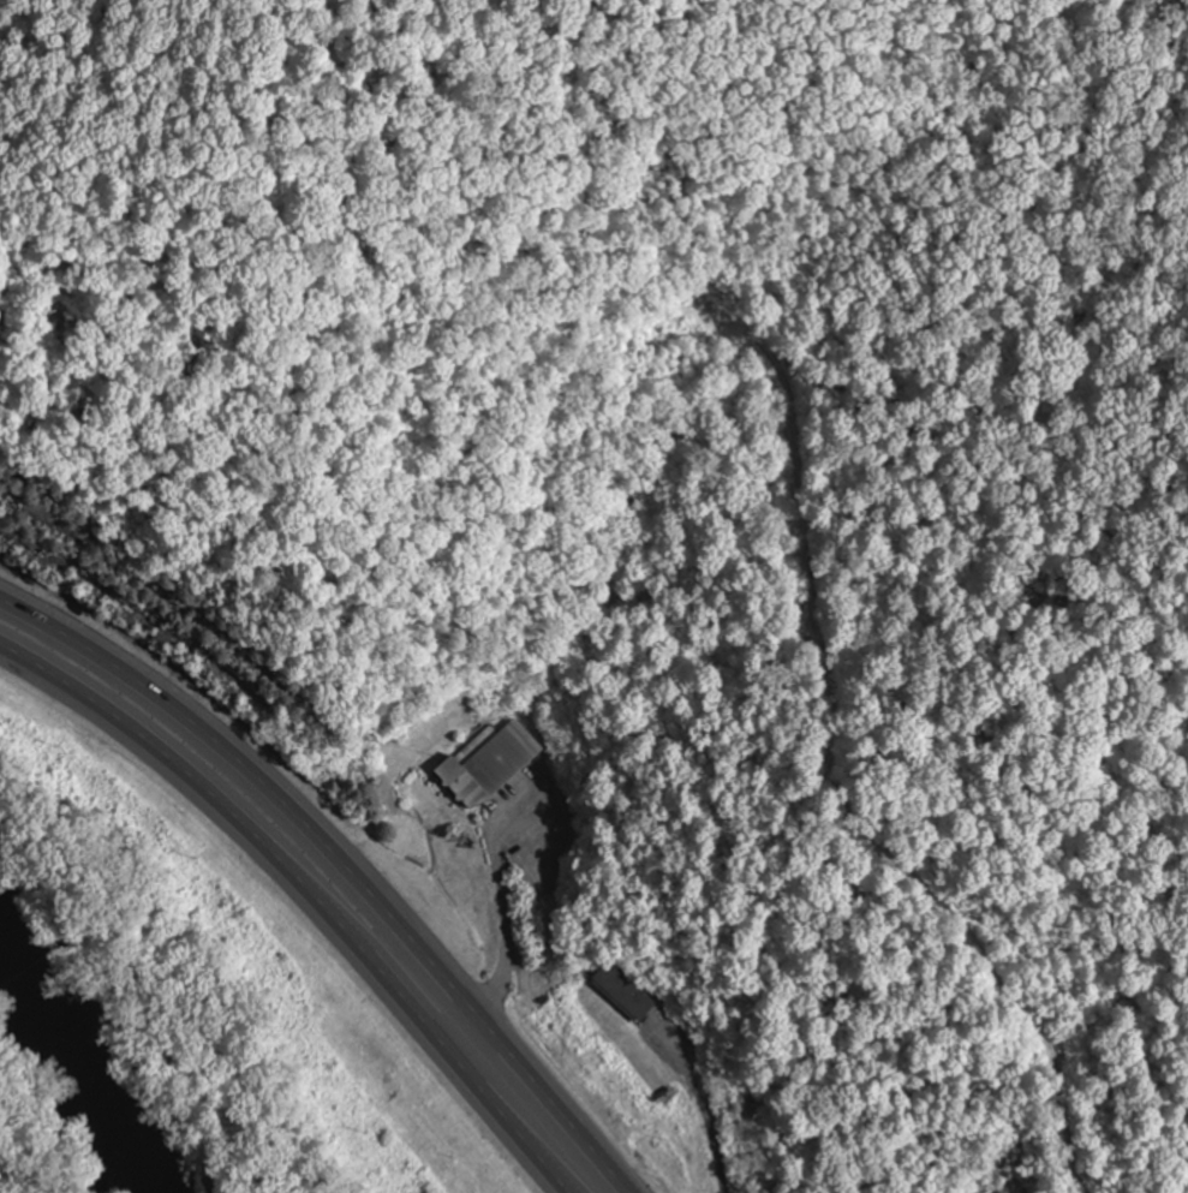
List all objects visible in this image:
building: (491, 764)
road: (346, 860)
road: (306, 894)
road: (511, 946)
building: (627, 991)
river: (91, 1052)

